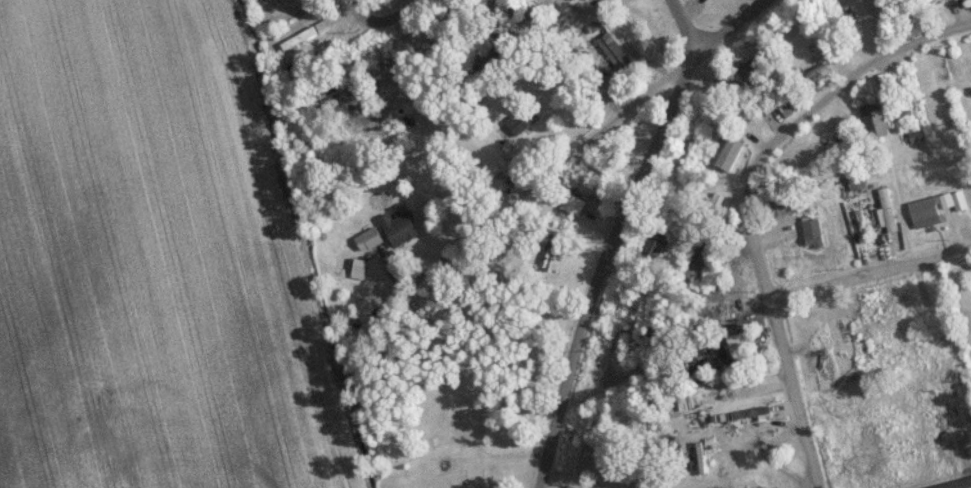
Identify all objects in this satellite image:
road: (406, 8)
road: (682, 26)
road: (426, 73)
road: (849, 80)
road: (627, 107)
crop: (153, 262)
road: (601, 265)
road: (869, 277)
road: (774, 330)
road: (960, 485)
crop: (969, 487)

